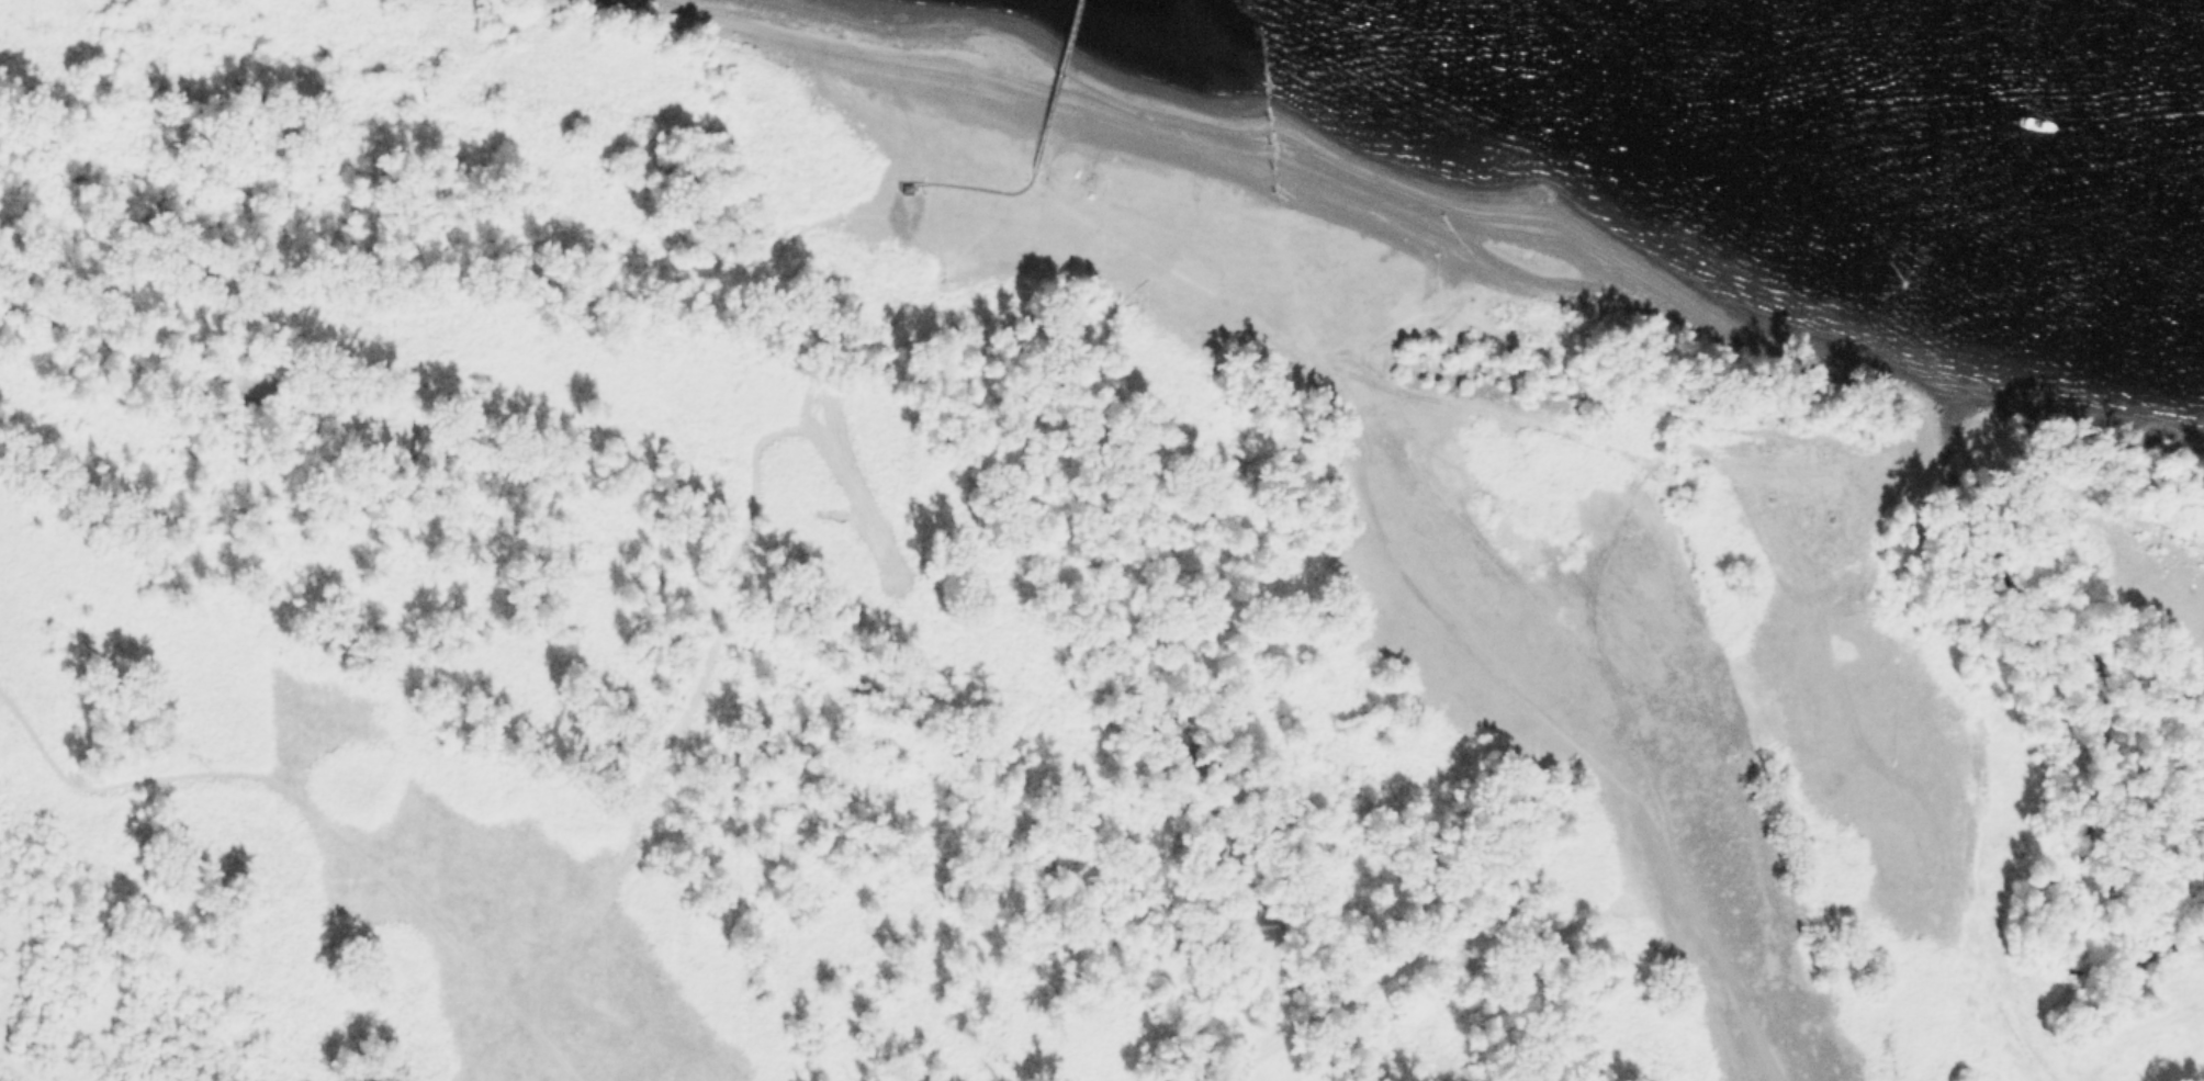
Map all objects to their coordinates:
pier: (1055, 81)

